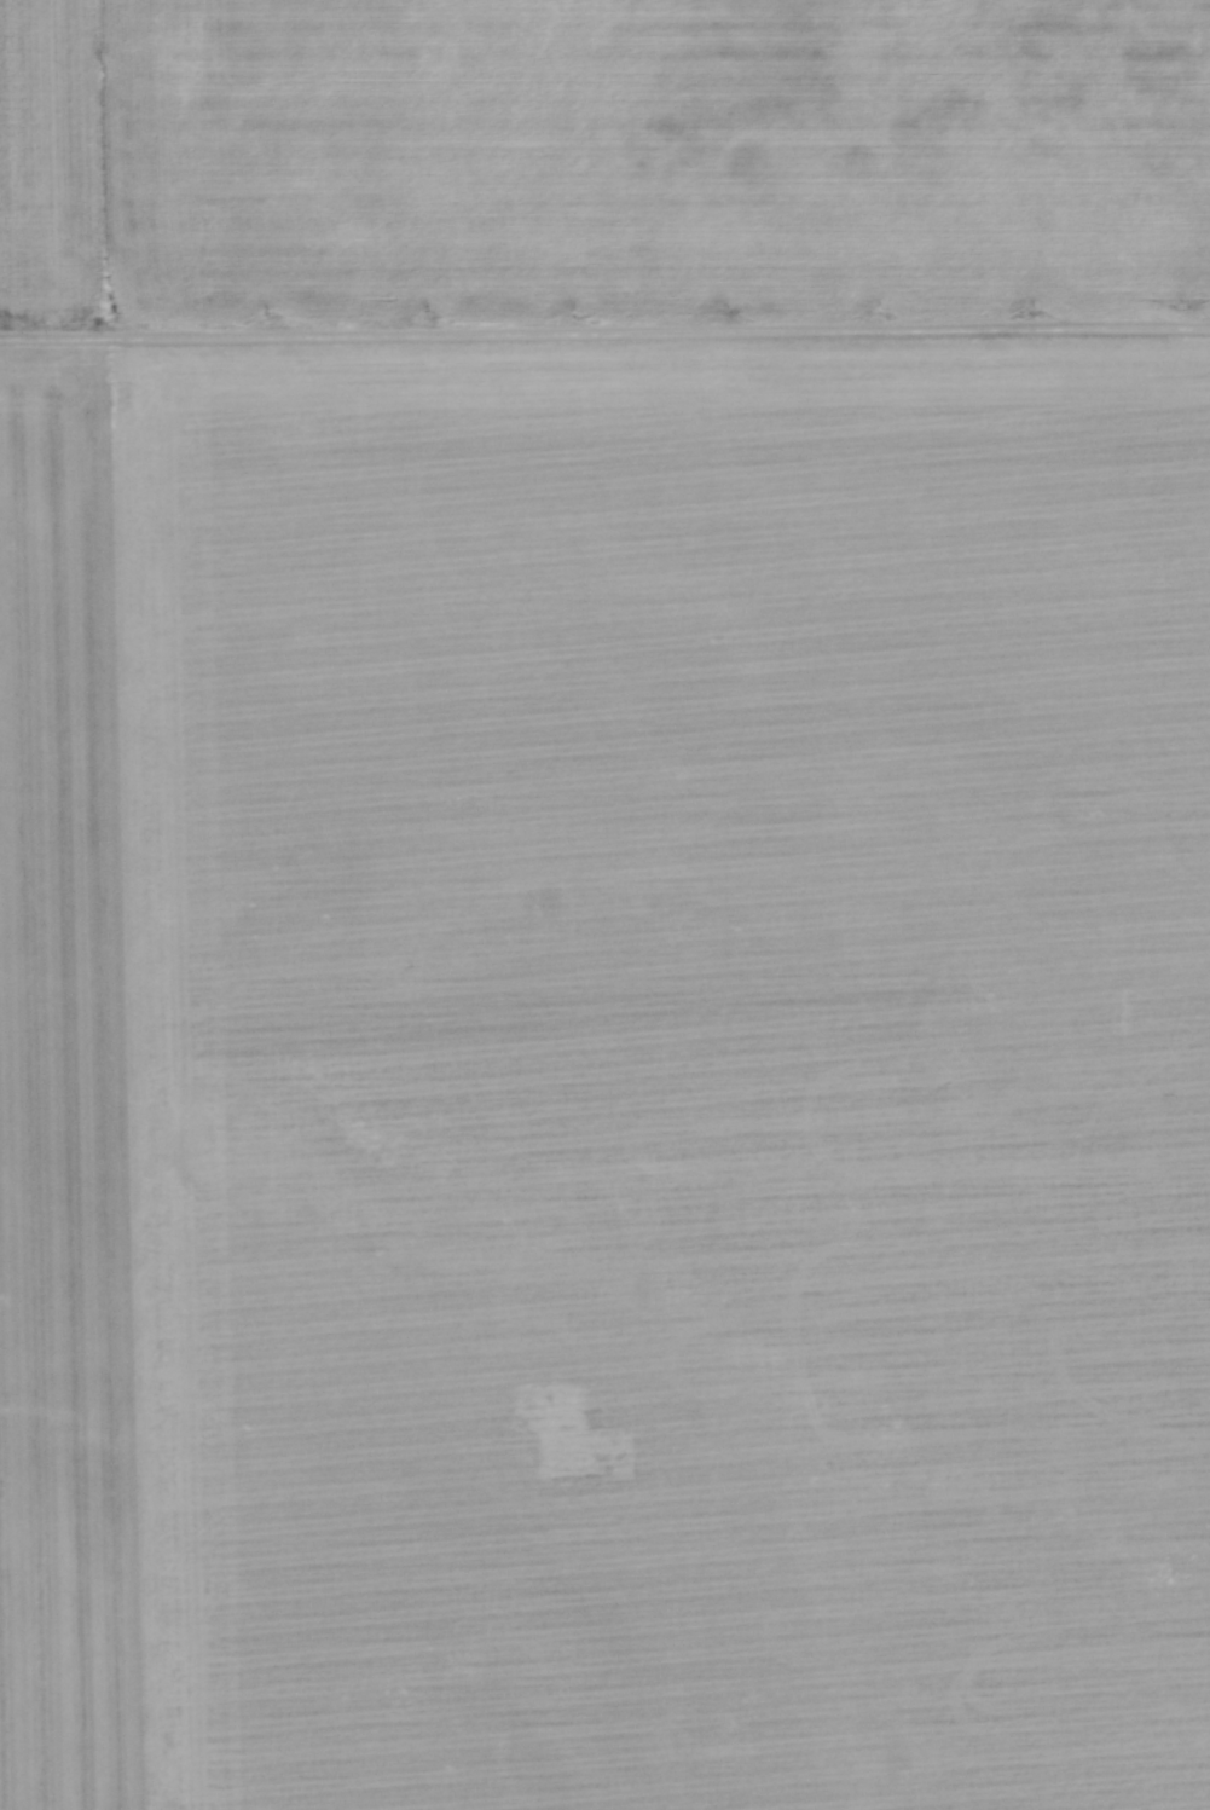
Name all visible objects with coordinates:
crop: (645, 162)
road: (604, 336)
crop: (604, 1075)

